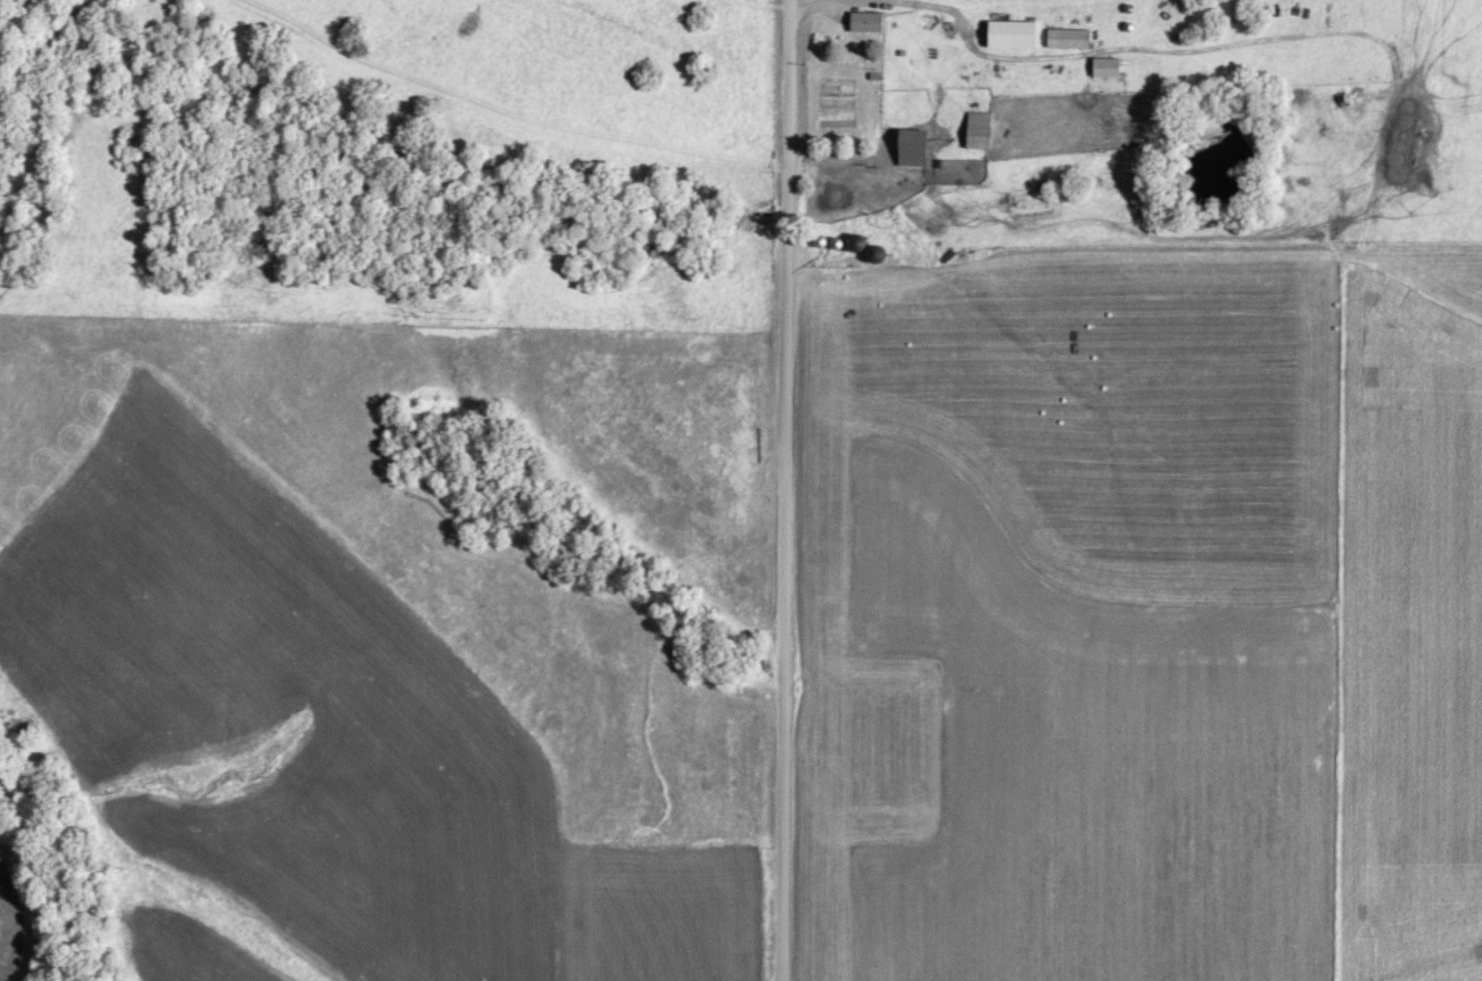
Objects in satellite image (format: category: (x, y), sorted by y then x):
building: (870, 22)
building: (1016, 34)
building: (1072, 39)
building: (1110, 68)
building: (982, 131)
building: (918, 149)
building: (823, 243)
building: (879, 256)
road: (786, 490)

